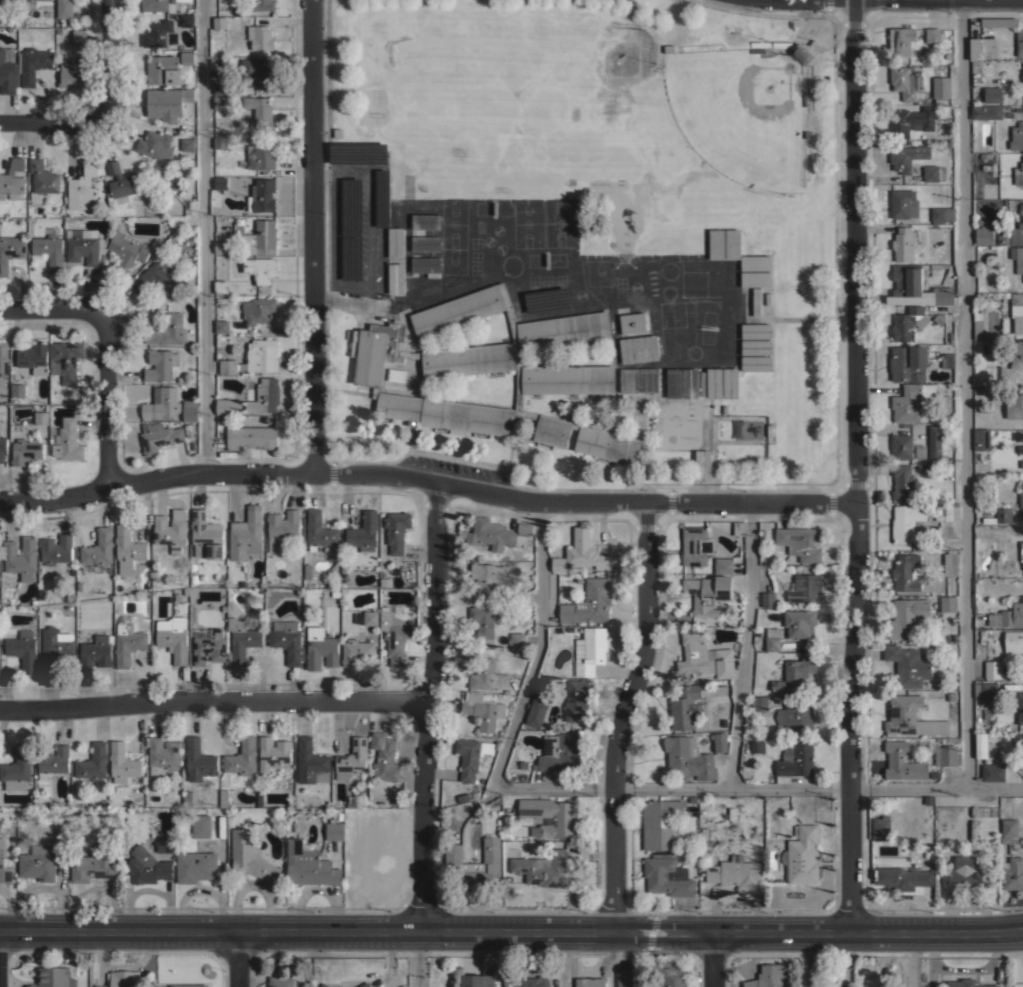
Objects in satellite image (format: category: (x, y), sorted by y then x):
building: (5, 3)
building: (33, 3)
road: (905, 3)
building: (159, 5)
building: (263, 5)
building: (64, 8)
building: (187, 20)
building: (220, 22)
building: (999, 22)
building: (160, 34)
building: (933, 35)
building: (79, 36)
building: (261, 37)
building: (901, 41)
building: (1020, 42)
building: (980, 52)
building: (801, 53)
building: (187, 57)
road: (106, 60)
building: (33, 64)
building: (163, 69)
building: (1022, 70)
building: (256, 71)
building: (8, 74)
building: (73, 74)
building: (1022, 76)
building: (1022, 81)
building: (904, 82)
park: (585, 86)
building: (941, 86)
building: (220, 87)
building: (187, 94)
building: (992, 94)
building: (220, 102)
building: (163, 104)
building: (260, 112)
building: (986, 112)
park: (743, 113)
building: (911, 120)
road: (49, 122)
building: (1017, 136)
building: (220, 142)
building: (187, 144)
building: (156, 145)
building: (260, 157)
building: (908, 157)
road: (339, 169)
building: (930, 173)
building: (1018, 174)
building: (12, 179)
building: (42, 180)
building: (121, 180)
building: (220, 183)
building: (83, 188)
building: (262, 195)
building: (903, 204)
building: (1021, 208)
building: (942, 214)
building: (426, 221)
road: (369, 224)
parking lot: (361, 225)
building: (983, 235)
building: (1010, 235)
road: (203, 237)
road: (313, 237)
building: (260, 238)
building: (395, 242)
building: (426, 243)
building: (716, 243)
building: (905, 243)
building: (732, 244)
building: (84, 245)
building: (221, 246)
building: (10, 251)
building: (127, 251)
building: (48, 252)
building: (1017, 257)
building: (755, 262)
building: (426, 265)
building: (260, 269)
building: (156, 277)
building: (395, 278)
building: (755, 279)
building: (221, 286)
building: (915, 288)
building: (1000, 293)
road: (351, 300)
building: (546, 301)
building: (756, 302)
building: (258, 310)
building: (1017, 311)
building: (633, 322)
building: (908, 322)
building: (977, 324)
building: (222, 326)
building: (172, 330)
building: (756, 330)
building: (756, 347)
road: (105, 348)
building: (639, 348)
building: (260, 356)
building: (34, 357)
building: (65, 359)
building: (948, 360)
building: (3, 362)
building: (756, 363)
building: (909, 363)
building: (161, 364)
building: (1012, 365)
building: (227, 366)
building: (565, 374)
building: (397, 375)
building: (629, 380)
building: (649, 380)
building: (674, 382)
building: (690, 382)
building: (714, 382)
building: (730, 382)
building: (18, 389)
road: (963, 395)
building: (264, 396)
building: (910, 401)
building: (162, 403)
building: (228, 406)
building: (1015, 406)
building: (190, 409)
building: (41, 419)
building: (739, 430)
building: (159, 436)
building: (251, 437)
building: (981, 438)
building: (66, 439)
building: (935, 441)
building: (24, 446)
building: (901, 446)
building: (3, 448)
building: (1020, 449)
building: (703, 464)
road: (856, 466)
road: (427, 482)
building: (903, 482)
building: (1021, 496)
building: (947, 511)
building: (1003, 514)
building: (908, 523)
building: (728, 526)
building: (171, 528)
building: (524, 528)
building: (282, 529)
building: (397, 530)
building: (364, 531)
building: (319, 532)
building: (246, 534)
building: (492, 534)
building: (206, 535)
building: (800, 542)
building: (696, 546)
building: (99, 548)
building: (56, 549)
building: (128, 549)
building: (1021, 550)
building: (581, 552)
building: (20, 555)
building: (951, 563)
building: (723, 565)
building: (906, 572)
building: (487, 576)
building: (804, 587)
building: (708, 593)
building: (518, 595)
building: (769, 599)
building: (589, 602)
building: (948, 603)
building: (1008, 616)
building: (367, 617)
building: (907, 617)
building: (484, 620)
building: (799, 622)
building: (394, 635)
building: (173, 638)
building: (287, 639)
building: (517, 639)
building: (241, 640)
building: (1013, 641)
building: (128, 643)
road: (745, 643)
building: (772, 643)
building: (55, 647)
building: (209, 647)
building: (321, 648)
building: (23, 650)
building: (590, 650)
building: (356, 651)
building: (96, 652)
building: (695, 653)
building: (724, 663)
building: (909, 665)
building: (993, 669)
building: (485, 673)
building: (795, 674)
building: (986, 690)
road: (212, 700)
building: (576, 700)
building: (758, 702)
building: (952, 706)
road: (425, 707)
building: (685, 707)
building: (483, 710)
building: (536, 712)
building: (1017, 713)
road: (621, 715)
building: (796, 716)
building: (911, 717)
building: (1018, 740)
building: (720, 742)
building: (980, 744)
building: (990, 745)
building: (757, 746)
building: (559, 752)
building: (163, 754)
building: (273, 754)
building: (945, 754)
building: (384, 756)
building: (471, 756)
building: (242, 757)
building: (688, 757)
building: (352, 759)
building: (795, 759)
building: (198, 760)
building: (52, 761)
building: (311, 762)
building: (903, 762)
building: (93, 763)
building: (122, 763)
building: (1021, 763)
building: (17, 768)
building: (992, 772)
road: (614, 785)
building: (187, 798)
building: (224, 798)
building: (565, 818)
building: (658, 822)
building: (201, 825)
building: (1010, 827)
building: (881, 828)
building: (335, 830)
building: (164, 844)
building: (801, 855)
building: (249, 856)
building: (42, 861)
building: (95, 864)
building: (475, 864)
building: (4, 865)
building: (309, 865)
building: (195, 866)
building: (146, 867)
building: (542, 868)
building: (735, 873)
building: (1013, 873)
building: (667, 875)
building: (963, 876)
building: (902, 877)
road: (511, 932)
road: (238, 959)
road: (417, 959)
road: (564, 959)
road: (714, 960)
road: (911, 960)
building: (673, 976)
building: (54, 977)
building: (768, 977)
building: (122, 978)
building: (624, 978)
building: (477, 980)
building: (279, 981)
building: (534, 982)
building: (590, 982)
building: (967, 983)
building: (1017, 984)
building: (189, 985)
building: (324, 985)
building: (365, 985)

